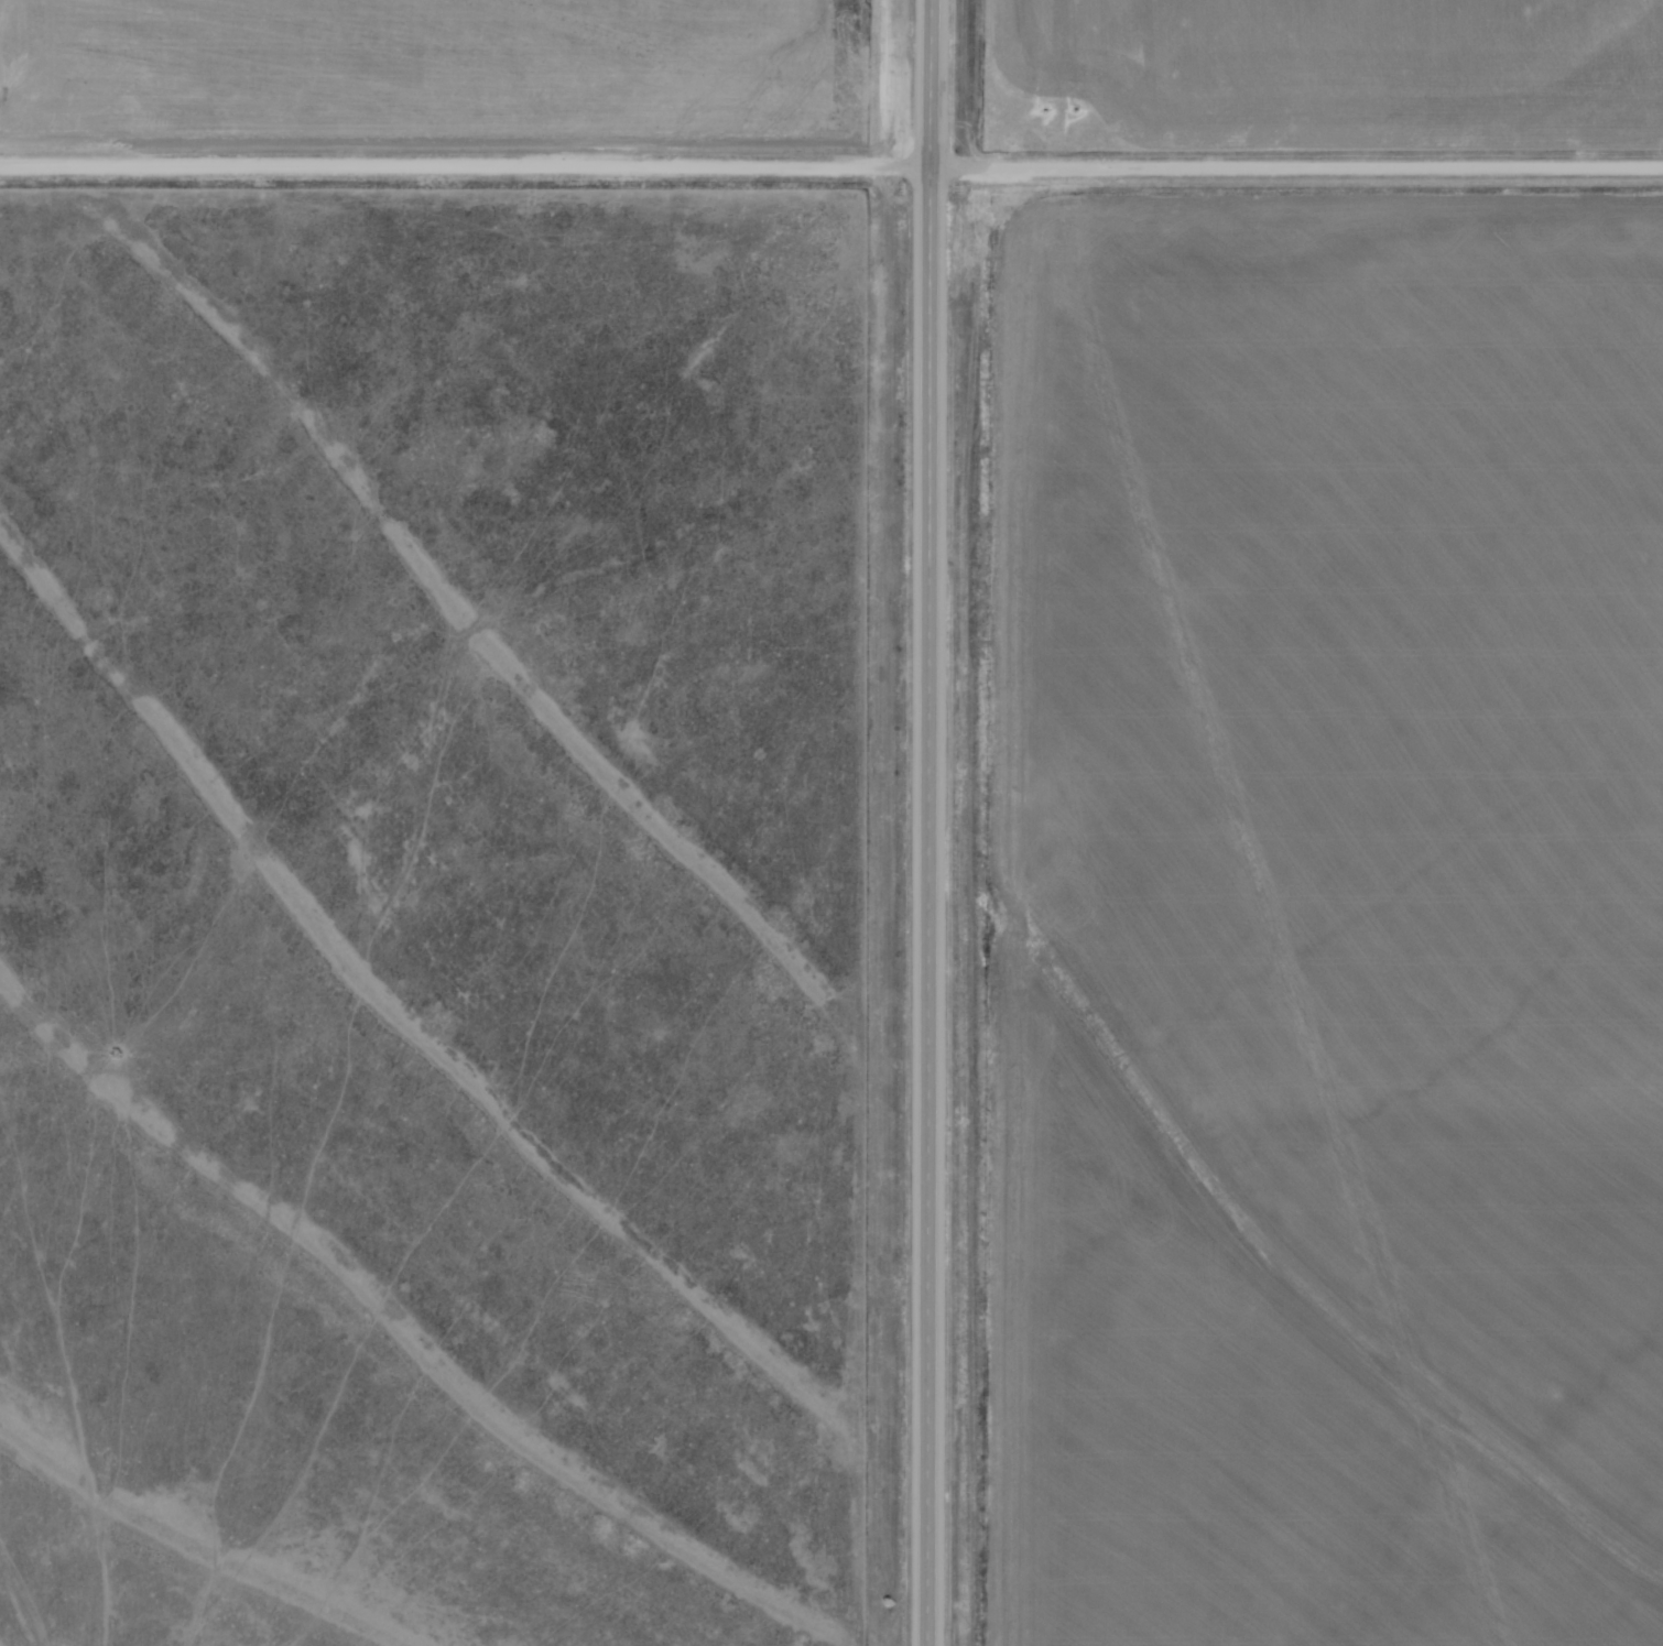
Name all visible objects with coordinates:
road: (831, 165)
road: (923, 822)

